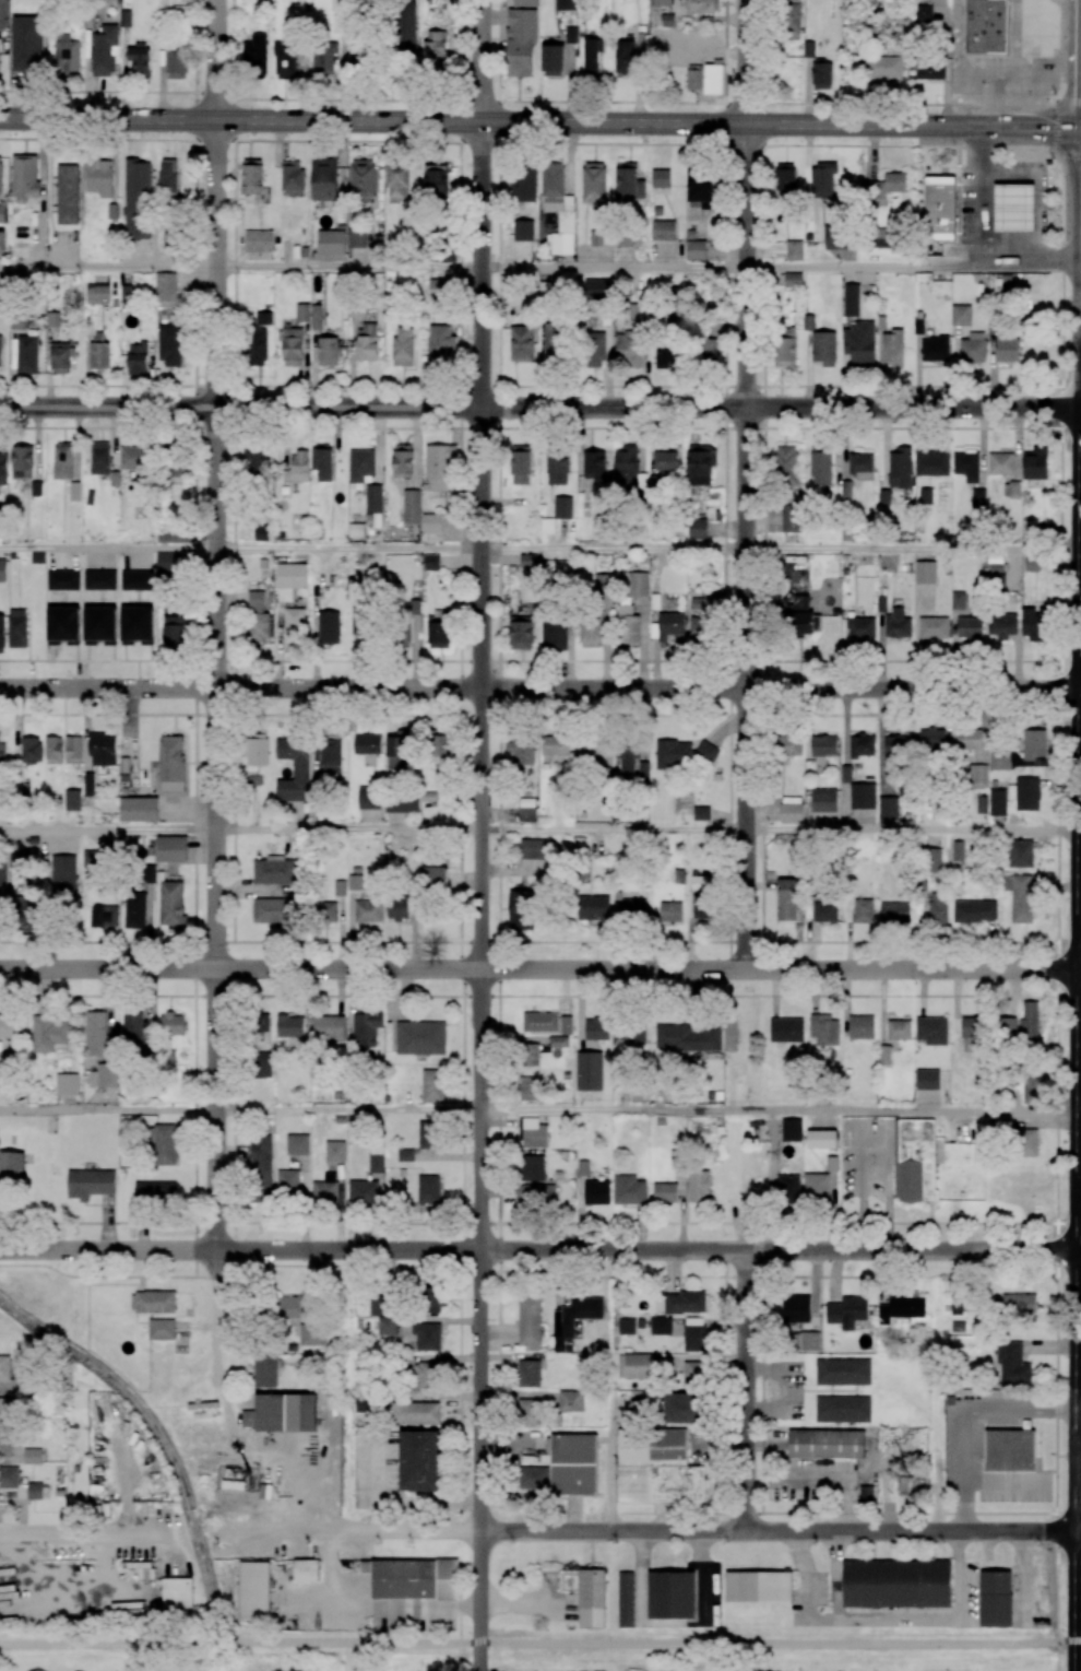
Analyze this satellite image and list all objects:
building: (661, 2)
building: (524, 3)
building: (565, 4)
building: (701, 5)
building: (2, 13)
building: (924, 13)
building: (126, 16)
building: (792, 19)
building: (341, 23)
building: (405, 26)
building: (988, 26)
building: (571, 34)
building: (521, 40)
building: (26, 43)
building: (435, 47)
building: (104, 49)
building: (809, 49)
building: (68, 56)
building: (256, 56)
building: (591, 57)
building: (625, 57)
building: (324, 58)
building: (139, 59)
road: (217, 60)
building: (285, 60)
building: (553, 60)
road: (482, 61)
road: (747, 62)
building: (176, 63)
building: (883, 68)
building: (929, 69)
building: (821, 75)
building: (693, 77)
building: (713, 79)
road: (108, 92)
road: (952, 104)
road: (1054, 113)
road: (372, 122)
road: (852, 126)
road: (1019, 127)
road: (540, 142)
building: (0, 174)
building: (252, 176)
building: (25, 177)
building: (99, 177)
building: (167, 177)
building: (292, 178)
building: (661, 178)
building: (784, 178)
building: (324, 179)
building: (361, 179)
building: (822, 179)
building: (436, 180)
building: (594, 181)
building: (629, 181)
building: (397, 183)
building: (523, 183)
building: (886, 187)
building: (698, 192)
building: (68, 193)
road: (982, 198)
building: (136, 199)
building: (1015, 208)
building: (557, 210)
building: (940, 211)
building: (2, 212)
building: (523, 230)
building: (664, 230)
building: (357, 237)
building: (595, 237)
building: (882, 237)
building: (839, 238)
building: (625, 240)
building: (2, 242)
building: (258, 242)
building: (331, 242)
building: (696, 249)
building: (794, 250)
building: (444, 255)
road: (108, 268)
road: (349, 268)
road: (614, 269)
road: (913, 269)
building: (793, 280)
building: (594, 283)
building: (440, 289)
building: (165, 290)
building: (1, 293)
building: (97, 293)
building: (127, 293)
building: (851, 299)
building: (302, 313)
building: (961, 315)
building: (316, 316)
building: (263, 318)
building: (52, 319)
building: (809, 321)
building: (918, 326)
building: (366, 341)
building: (441, 342)
building: (551, 342)
building: (522, 343)
building: (859, 343)
building: (169, 344)
building: (256, 346)
building: (293, 346)
building: (403, 346)
building: (973, 346)
building: (785, 348)
building: (824, 348)
building: (893, 348)
building: (595, 349)
building: (630, 349)
building: (935, 349)
building: (1008, 349)
building: (706, 350)
building: (326, 351)
building: (1, 352)
building: (98, 352)
building: (26, 354)
building: (666, 355)
building: (62, 357)
building: (136, 358)
road: (540, 408)
building: (100, 458)
building: (134, 458)
building: (63, 460)
building: (402, 460)
building: (666, 460)
building: (932, 460)
building: (253, 461)
building: (22, 462)
building: (1002, 462)
building: (321, 463)
building: (699, 463)
building: (1035, 463)
building: (299, 464)
building: (360, 464)
building: (521, 464)
building: (3, 466)
building: (439, 466)
building: (785, 466)
building: (820, 466)
building: (860, 466)
building: (966, 466)
building: (557, 467)
building: (594, 467)
building: (627, 468)
building: (900, 468)
building: (1015, 487)
building: (927, 494)
building: (884, 496)
building: (979, 497)
building: (373, 498)
building: (412, 506)
building: (562, 507)
building: (2, 518)
building: (792, 518)
building: (432, 523)
building: (547, 526)
building: (697, 528)
building: (1047, 528)
building: (356, 530)
building: (261, 532)
road: (108, 548)
road: (747, 548)
road: (348, 549)
road: (614, 549)
road: (914, 549)
building: (38, 557)
building: (996, 557)
building: (165, 560)
building: (528, 561)
building: (431, 562)
building: (1033, 562)
building: (905, 563)
building: (2, 569)
building: (925, 572)
building: (63, 579)
building: (100, 579)
building: (136, 579)
building: (290, 579)
building: (604, 581)
building: (639, 581)
building: (996, 583)
building: (655, 600)
building: (959, 600)
building: (701, 602)
building: (800, 602)
building: (258, 616)
building: (806, 622)
building: (1033, 623)
building: (136, 624)
building: (896, 624)
building: (63, 625)
building: (100, 625)
building: (294, 625)
building: (667, 625)
building: (1002, 625)
building: (360, 626)
building: (627, 626)
building: (859, 626)
building: (970, 626)
building: (329, 627)
building: (934, 627)
building: (17, 628)
building: (699, 629)
building: (173, 631)
building: (438, 632)
building: (521, 632)
building: (2, 633)
building: (555, 635)
building: (591, 635)
road: (540, 689)
building: (967, 739)
building: (929, 740)
building: (367, 743)
building: (1034, 743)
building: (555, 744)
building: (787, 745)
building: (823, 745)
building: (895, 745)
building: (590, 746)
building: (862, 746)
building: (440, 748)
building: (73, 749)
building: (32, 750)
building: (54, 750)
building: (102, 750)
building: (2, 751)
building: (257, 751)
building: (521, 751)
building: (331, 753)
building: (397, 753)
building: (705, 753)
building: (673, 754)
road: (216, 755)
building: (627, 760)
building: (999, 760)
building: (171, 763)
building: (294, 770)
building: (977, 776)
building: (1025, 793)
building: (862, 796)
building: (368, 797)
building: (73, 799)
building: (823, 800)
building: (997, 802)
building: (982, 804)
building: (402, 805)
building: (888, 808)
building: (139, 809)
building: (527, 809)
building: (701, 813)
building: (792, 813)
road: (108, 829)
road: (348, 829)
road: (614, 831)
road: (912, 831)
building: (171, 848)
building: (532, 848)
building: (958, 850)
building: (1020, 854)
building: (91, 859)
building: (930, 859)
building: (17, 866)
building: (274, 871)
building: (63, 874)
building: (435, 874)
building: (3, 879)
building: (699, 882)
building: (1019, 896)
road: (482, 897)
building: (786, 899)
building: (173, 904)
building: (701, 906)
building: (397, 907)
building: (593, 907)
building: (938, 908)
building: (135, 909)
building: (274, 909)
building: (521, 909)
building: (368, 910)
building: (633, 910)
building: (670, 910)
building: (864, 910)
building: (975, 910)
road: (1057, 910)
building: (325, 911)
building: (824, 911)
building: (894, 911)
building: (27, 914)
building: (104, 915)
road: (1080, 933)
road: (539, 969)
building: (1029, 1021)
building: (540, 1022)
building: (173, 1024)
building: (10, 1025)
building: (566, 1025)
building: (132, 1026)
building: (261, 1026)
building: (289, 1026)
building: (366, 1026)
building: (860, 1026)
building: (972, 1026)
building: (329, 1027)
building: (1007, 1027)
building: (596, 1028)
building: (786, 1029)
building: (824, 1029)
building: (899, 1029)
building: (931, 1031)
building: (49, 1033)
building: (96, 1033)
building: (675, 1036)
building: (420, 1037)
building: (558, 1042)
building: (530, 1055)
building: (883, 1055)
building: (262, 1064)
building: (589, 1071)
building: (104, 1075)
building: (927, 1079)
building: (67, 1084)
building: (432, 1085)
building: (1033, 1086)
building: (528, 1088)
road: (1080, 1109)
road: (348, 1110)
road: (613, 1110)
road: (911, 1111)
road: (108, 1113)
building: (792, 1130)
building: (533, 1132)
building: (427, 1133)
road: (875, 1135)
building: (821, 1139)
building: (1025, 1142)
building: (164, 1143)
building: (298, 1144)
building: (335, 1151)
building: (405, 1155)
building: (376, 1158)
building: (914, 1160)
building: (12, 1167)
building: (261, 1167)
building: (532, 1167)
building: (91, 1184)
building: (287, 1184)
building: (699, 1186)
building: (817, 1186)
building: (325, 1189)
building: (428, 1189)
building: (629, 1189)
building: (788, 1189)
building: (155, 1191)
building: (363, 1192)
building: (596, 1192)
building: (665, 1192)
building: (536, 1193)
road: (1080, 1199)
road: (539, 1250)
building: (433, 1298)
building: (153, 1302)
building: (680, 1302)
building: (1018, 1303)
building: (957, 1305)
building: (290, 1307)
building: (901, 1308)
building: (795, 1311)
building: (846, 1311)
building: (382, 1313)
building: (575, 1314)
building: (528, 1321)
building: (661, 1325)
building: (626, 1326)
building: (162, 1329)
building: (311, 1334)
building: (427, 1335)
building: (693, 1338)
building: (809, 1341)
building: (1012, 1363)
building: (633, 1366)
building: (4, 1368)
building: (265, 1372)
building: (843, 1372)
building: (528, 1373)
building: (693, 1373)
building: (427, 1375)
road: (745, 1390)
road: (783, 1390)
building: (570, 1401)
building: (680, 1408)
building: (843, 1409)
building: (4, 1411)
building: (415, 1412)
building: (528, 1412)
building: (282, 1413)
road: (964, 1414)
building: (5, 1443)
building: (825, 1443)
building: (1010, 1450)
building: (32, 1456)
building: (419, 1460)
building: (573, 1463)
road: (1080, 1466)
building: (656, 1467)
building: (9, 1476)
building: (532, 1479)
road: (812, 1479)
building: (35, 1491)
road: (394, 1502)
road: (669, 1531)
road: (79, 1533)
building: (306, 1569)
building: (415, 1579)
road: (63, 1584)
building: (896, 1584)
building: (758, 1586)
building: (254, 1591)
building: (672, 1594)
building: (177, 1596)
building: (592, 1598)
building: (995, 1598)
building: (626, 1599)
road: (538, 1641)
road: (1079, 1643)

